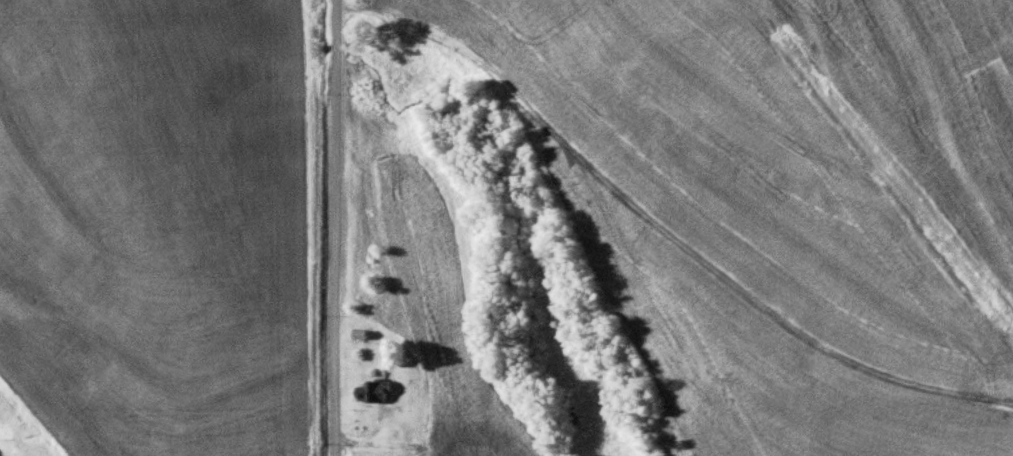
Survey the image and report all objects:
road: (338, 227)
building: (379, 388)

